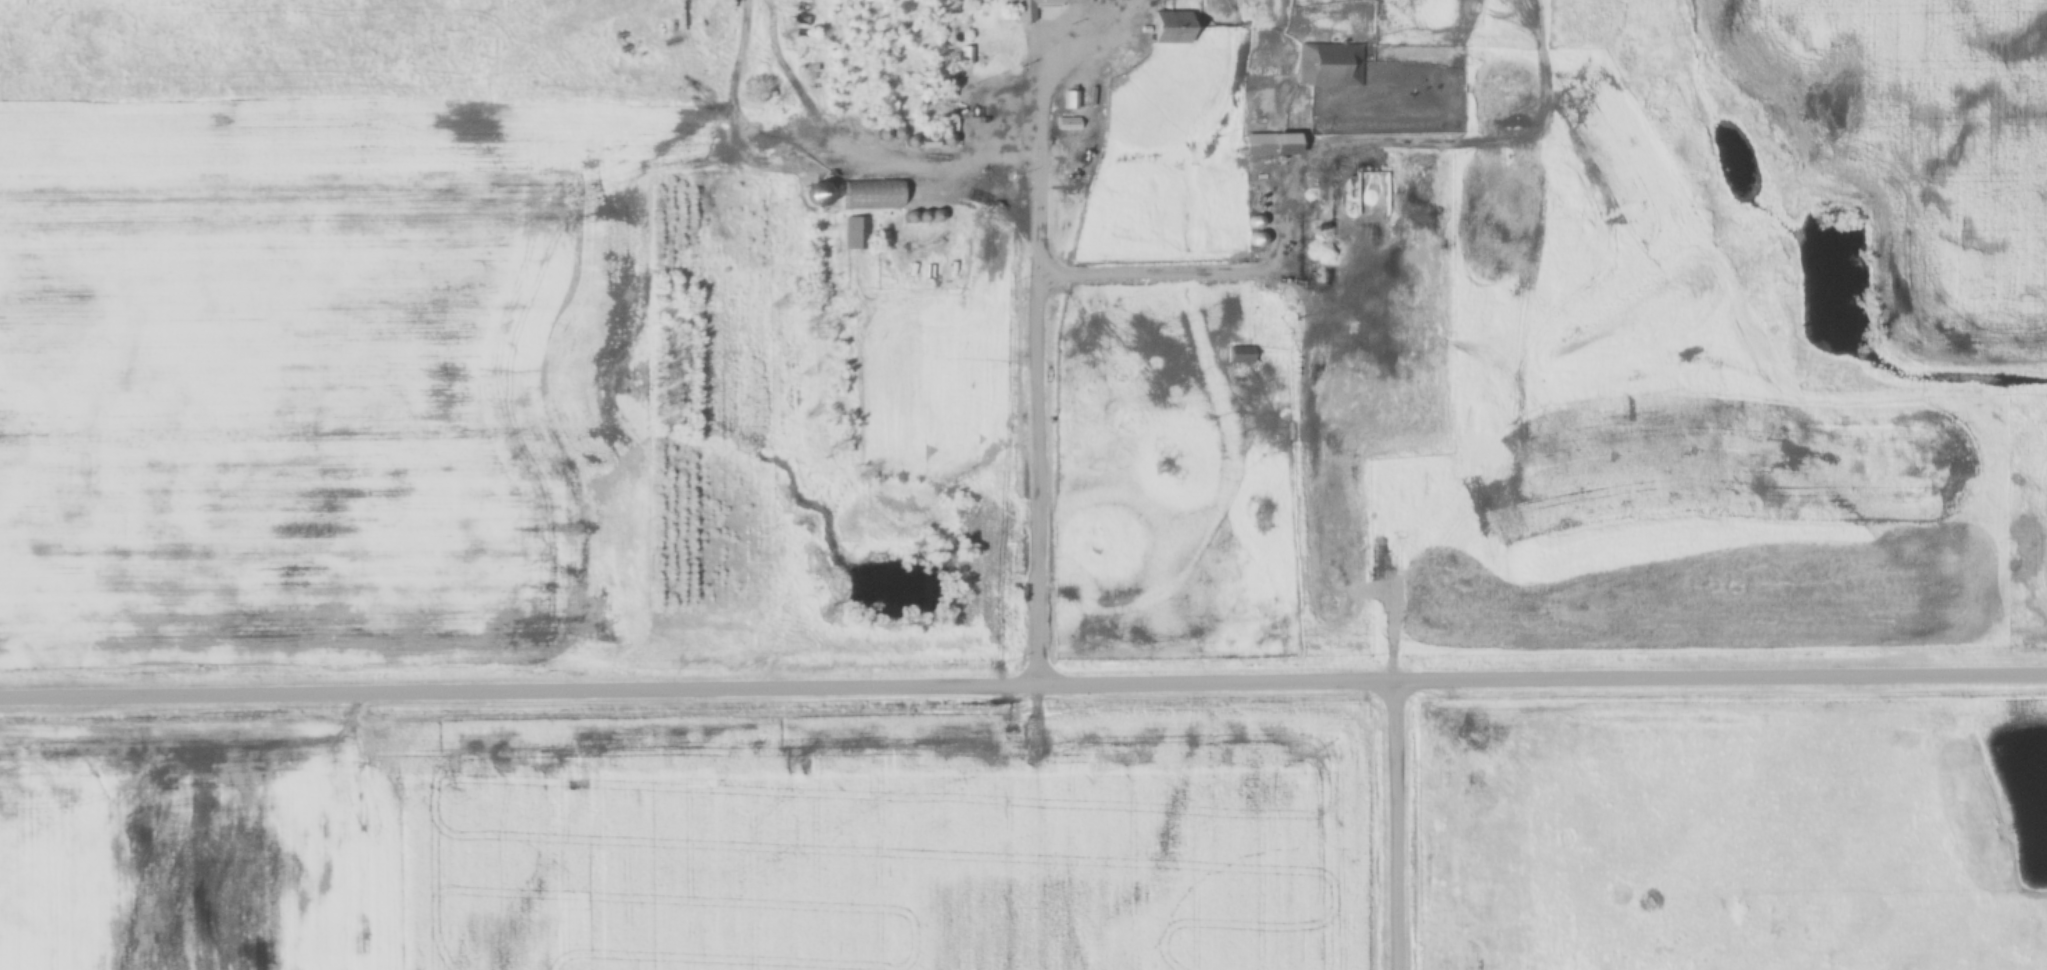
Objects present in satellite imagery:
building: (1027, 8)
building: (1167, 28)
building: (1329, 66)
building: (947, 123)
building: (1067, 124)
building: (1267, 146)
building: (819, 192)
building: (870, 194)
building: (856, 234)
building: (1253, 241)
building: (1240, 356)
road: (1043, 367)
road: (1023, 686)
road: (1400, 826)

